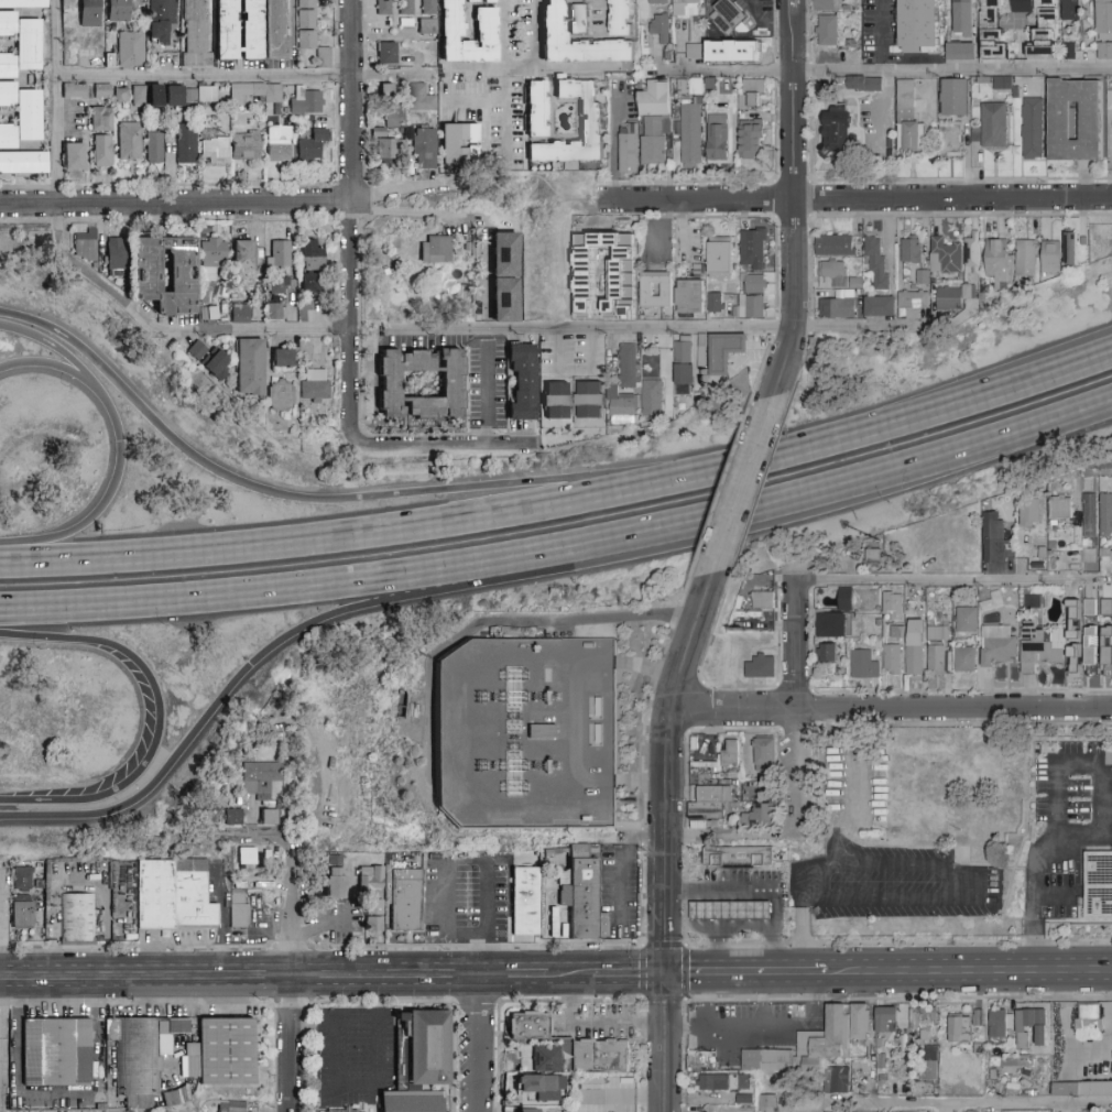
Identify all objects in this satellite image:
building: (658, 2)
building: (23, 3)
building: (825, 6)
building: (684, 7)
building: (1024, 7)
building: (383, 8)
building: (428, 8)
building: (406, 9)
building: (118, 10)
building: (1073, 10)
building: (89, 13)
road: (604, 13)
building: (730, 17)
building: (963, 17)
building: (622, 18)
building: (578, 19)
building: (1103, 20)
building: (553, 21)
road: (765, 21)
building: (161, 22)
building: (487, 24)
building: (918, 25)
building: (426, 26)
building: (659, 28)
building: (238, 30)
building: (276, 30)
building: (309, 31)
building: (828, 31)
building: (992, 32)
building: (195, 33)
building: (1046, 33)
road: (533, 34)
road: (880, 35)
building: (21, 44)
building: (131, 48)
building: (720, 50)
building: (695, 52)
building: (753, 52)
building: (961, 52)
building: (1068, 52)
building: (1104, 52)
building: (385, 53)
building: (72, 55)
road: (472, 69)
road: (522, 69)
road: (884, 69)
building: (428, 73)
road: (207, 80)
building: (1002, 83)
building: (858, 84)
building: (383, 87)
building: (689, 87)
building: (74, 90)
building: (102, 91)
building: (253, 94)
road: (842, 94)
building: (207, 95)
building: (752, 95)
building: (122, 96)
building: (139, 96)
building: (154, 96)
building: (179, 96)
building: (419, 98)
building: (955, 98)
road: (839, 99)
building: (1109, 100)
road: (473, 101)
building: (729, 101)
building: (305, 102)
road: (59, 103)
building: (537, 109)
road: (504, 112)
building: (21, 115)
building: (101, 119)
building: (394, 119)
building: (908, 121)
building: (1091, 122)
building: (591, 123)
building: (655, 124)
building: (994, 127)
building: (1032, 129)
building: (375, 131)
building: (690, 133)
building: (839, 134)
building: (717, 138)
building: (130, 141)
building: (751, 141)
building: (950, 141)
building: (280, 143)
building: (186, 144)
building: (459, 144)
road: (611, 144)
building: (890, 144)
building: (246, 145)
building: (312, 145)
building: (154, 146)
building: (386, 149)
building: (629, 149)
building: (102, 151)
building: (214, 151)
building: (74, 156)
building: (425, 156)
road: (850, 162)
building: (23, 163)
road: (815, 168)
road: (905, 181)
road: (748, 182)
road: (793, 182)
road: (604, 183)
road: (810, 198)
road: (775, 199)
road: (952, 200)
road: (795, 201)
road: (695, 204)
road: (176, 208)
road: (407, 210)
road: (904, 215)
road: (741, 217)
road: (793, 217)
road: (355, 225)
building: (85, 246)
building: (833, 246)
building: (437, 250)
building: (1070, 250)
building: (752, 251)
building: (911, 251)
building: (624, 253)
building: (971, 253)
building: (116, 254)
building: (243, 254)
building: (279, 254)
building: (211, 257)
building: (945, 258)
building: (1050, 258)
building: (720, 259)
building: (1025, 259)
building: (995, 262)
building: (875, 263)
building: (310, 264)
building: (183, 273)
building: (832, 275)
building: (505, 276)
building: (923, 277)
road: (483, 284)
building: (855, 284)
building: (279, 286)
building: (972, 290)
building: (655, 291)
building: (849, 294)
building: (689, 296)
building: (751, 298)
building: (949, 299)
building: (715, 303)
building: (913, 304)
building: (879, 307)
building: (836, 309)
building: (276, 310)
building: (209, 313)
building: (241, 314)
road: (864, 328)
road: (595, 329)
road: (173, 331)
road: (48, 346)
building: (197, 350)
building: (701, 351)
building: (724, 351)
building: (282, 359)
building: (217, 366)
building: (250, 368)
building: (683, 368)
building: (523, 382)
building: (315, 385)
building: (453, 385)
building: (625, 388)
building: (281, 395)
road: (484, 399)
building: (653, 399)
building: (556, 401)
building: (589, 401)
road: (935, 418)
road: (441, 449)
road: (121, 453)
road: (744, 491)
road: (347, 502)
building: (1060, 509)
building: (1028, 513)
building: (1105, 515)
building: (1090, 516)
building: (1075, 517)
road: (379, 530)
building: (994, 538)
road: (563, 552)
building: (1088, 554)
building: (873, 555)
building: (1104, 556)
road: (956, 571)
building: (763, 600)
building: (859, 600)
building: (992, 602)
building: (893, 604)
building: (1105, 604)
building: (1088, 606)
building: (967, 620)
road: (497, 622)
building: (831, 625)
building: (895, 631)
building: (937, 633)
building: (999, 645)
building: (1039, 646)
building: (914, 647)
road: (274, 648)
building: (1106, 652)
building: (828, 653)
building: (1090, 655)
building: (964, 659)
building: (891, 661)
building: (936, 661)
building: (863, 665)
building: (761, 667)
road: (651, 668)
road: (798, 701)
road: (893, 709)
road: (159, 720)
road: (576, 722)
building: (530, 737)
power substation: (530, 737)
building: (729, 754)
building: (764, 755)
road: (1100, 765)
building: (1007, 773)
building: (260, 777)
road: (643, 782)
building: (901, 791)
building: (709, 803)
building: (210, 810)
building: (760, 816)
building: (232, 817)
building: (269, 817)
building: (982, 826)
road: (731, 835)
road: (665, 844)
building: (248, 855)
building: (738, 857)
road: (622, 859)
road: (488, 862)
road: (946, 875)
building: (22, 877)
building: (336, 877)
building: (369, 879)
parking lot: (892, 884)
building: (1098, 885)
road: (762, 887)
road: (1053, 894)
building: (174, 895)
building: (584, 898)
building: (406, 901)
road: (1033, 901)
building: (525, 902)
building: (731, 912)
building: (22, 914)
building: (77, 918)
building: (240, 923)
building: (374, 925)
road: (724, 930)
road: (802, 936)
road: (478, 945)
road: (686, 946)
road: (133, 947)
road: (291, 947)
road: (969, 971)
road: (745, 973)
road: (628, 974)
traffic signals: (665, 974)
road: (514, 975)
road: (570, 975)
road: (240, 977)
road: (287, 978)
road: (814, 996)
road: (570, 1000)
road: (762, 1000)
road: (706, 1001)
road: (382, 1002)
road: (477, 1002)
road: (134, 1003)
road: (288, 1005)
building: (1088, 1018)
building: (886, 1020)
building: (925, 1023)
building: (999, 1024)
building: (1035, 1024)
building: (528, 1025)
road: (739, 1026)
road: (313, 1027)
building: (960, 1029)
road: (479, 1044)
road: (2, 1045)
building: (820, 1048)
building: (140, 1051)
building: (57, 1053)
building: (220, 1054)
building: (544, 1057)
building: (600, 1057)
road: (273, 1058)
building: (419, 1062)
building: (930, 1066)
building: (712, 1082)
building: (742, 1083)
road: (377, 1087)
building: (541, 1087)
building: (1081, 1090)
building: (768, 1103)
road: (972, 1104)
building: (232, 1106)
building: (735, 1110)
building: (344, 1111)
building: (531, 1111)

